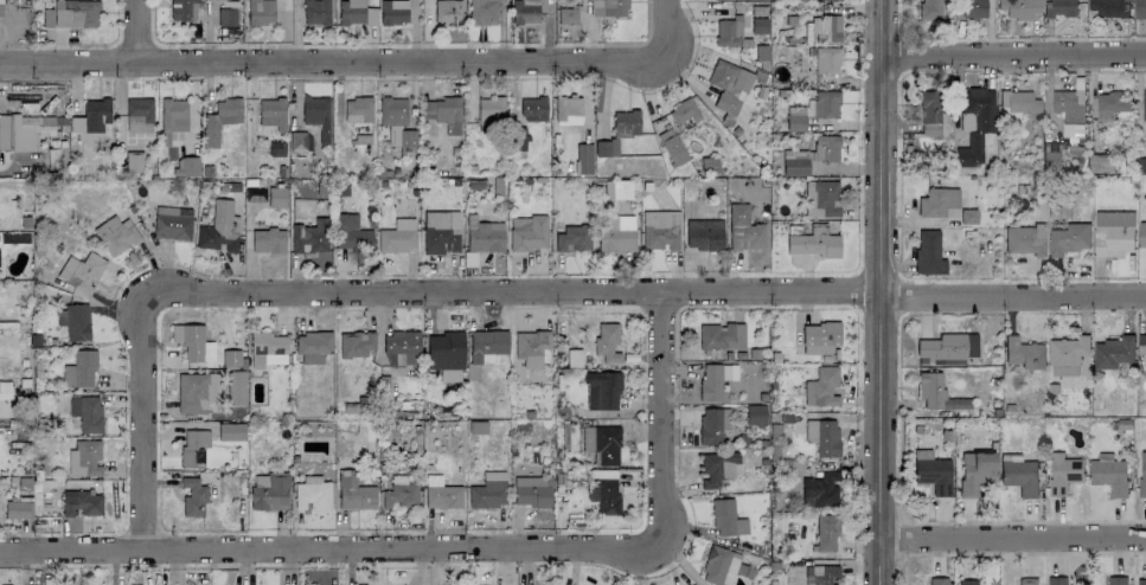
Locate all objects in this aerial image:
building: (0, 7)
building: (608, 7)
building: (1108, 7)
building: (930, 8)
building: (972, 8)
building: (1018, 8)
building: (1059, 8)
building: (1139, 8)
building: (183, 9)
building: (260, 11)
building: (392, 11)
building: (447, 11)
building: (524, 11)
building: (316, 12)
building: (356, 12)
building: (482, 12)
building: (71, 13)
building: (566, 14)
building: (226, 17)
building: (825, 27)
road: (139, 31)
building: (729, 32)
road: (1013, 53)
building: (826, 59)
road: (365, 62)
building: (728, 85)
building: (1017, 102)
building: (825, 103)
building: (1144, 104)
building: (1110, 105)
building: (533, 108)
building: (357, 109)
building: (440, 109)
building: (568, 110)
building: (1070, 110)
building: (489, 111)
building: (683, 111)
building: (271, 112)
building: (929, 112)
building: (137, 114)
building: (316, 115)
building: (172, 117)
building: (795, 118)
building: (90, 120)
building: (219, 120)
building: (396, 121)
building: (626, 123)
building: (974, 123)
building: (23, 130)
building: (297, 140)
building: (671, 146)
building: (606, 147)
building: (825, 148)
building: (1050, 154)
building: (583, 159)
building: (133, 161)
building: (794, 162)
building: (1100, 162)
building: (709, 163)
building: (186, 166)
building: (616, 188)
building: (275, 197)
building: (824, 198)
building: (936, 201)
building: (172, 223)
building: (218, 229)
building: (743, 229)
building: (659, 230)
building: (441, 231)
building: (351, 232)
building: (527, 232)
building: (615, 232)
building: (115, 233)
building: (1113, 233)
building: (1141, 234)
building: (397, 236)
building: (309, 237)
building: (574, 237)
building: (703, 237)
building: (1069, 238)
building: (268, 239)
building: (1025, 239)
building: (813, 243)
building: (928, 252)
building: (79, 271)
road: (380, 291)
road: (1013, 291)
road: (881, 292)
building: (73, 321)
building: (722, 335)
building: (818, 337)
building: (192, 342)
building: (606, 342)
building: (354, 343)
building: (487, 345)
building: (313, 346)
building: (530, 346)
building: (401, 348)
building: (946, 348)
building: (267, 349)
building: (1141, 349)
building: (1113, 352)
building: (1023, 353)
building: (444, 354)
building: (1067, 355)
building: (230, 358)
building: (79, 369)
building: (716, 380)
building: (236, 387)
building: (820, 387)
building: (601, 390)
building: (194, 391)
building: (936, 393)
building: (87, 412)
building: (755, 414)
building: (712, 424)
building: (230, 431)
building: (822, 436)
building: (601, 444)
building: (193, 446)
building: (84, 458)
building: (717, 468)
building: (931, 471)
building: (975, 471)
building: (1063, 472)
building: (1142, 474)
building: (1019, 475)
building: (1109, 476)
building: (820, 489)
building: (488, 490)
building: (532, 490)
building: (353, 491)
building: (270, 493)
building: (312, 493)
building: (604, 493)
building: (398, 495)
building: (193, 496)
building: (442, 496)
building: (81, 502)
building: (18, 508)
building: (726, 519)
building: (825, 533)
road: (1016, 538)
road: (461, 548)
building: (719, 565)
building: (820, 574)
building: (936, 580)
building: (1026, 580)
building: (1056, 580)
building: (1115, 580)
building: (967, 581)
building: (1141, 581)
building: (689, 584)

